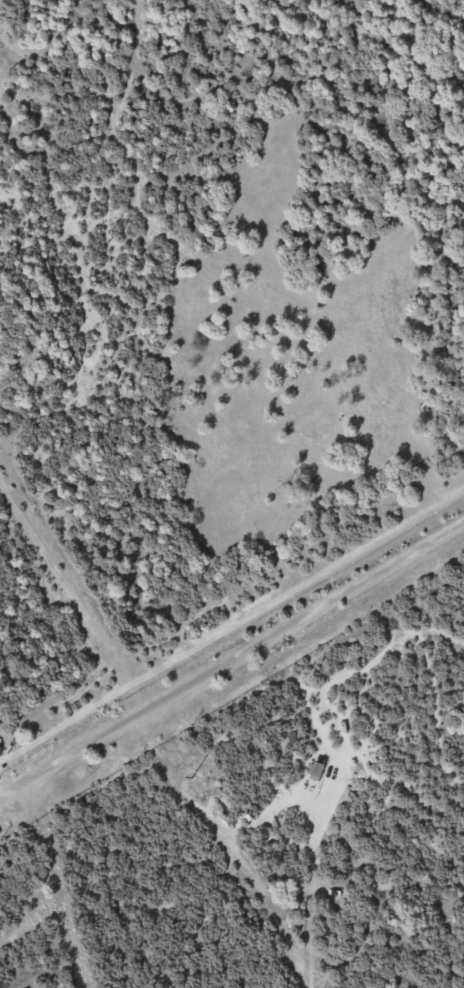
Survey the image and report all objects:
road: (233, 656)
power tower: (191, 777)

